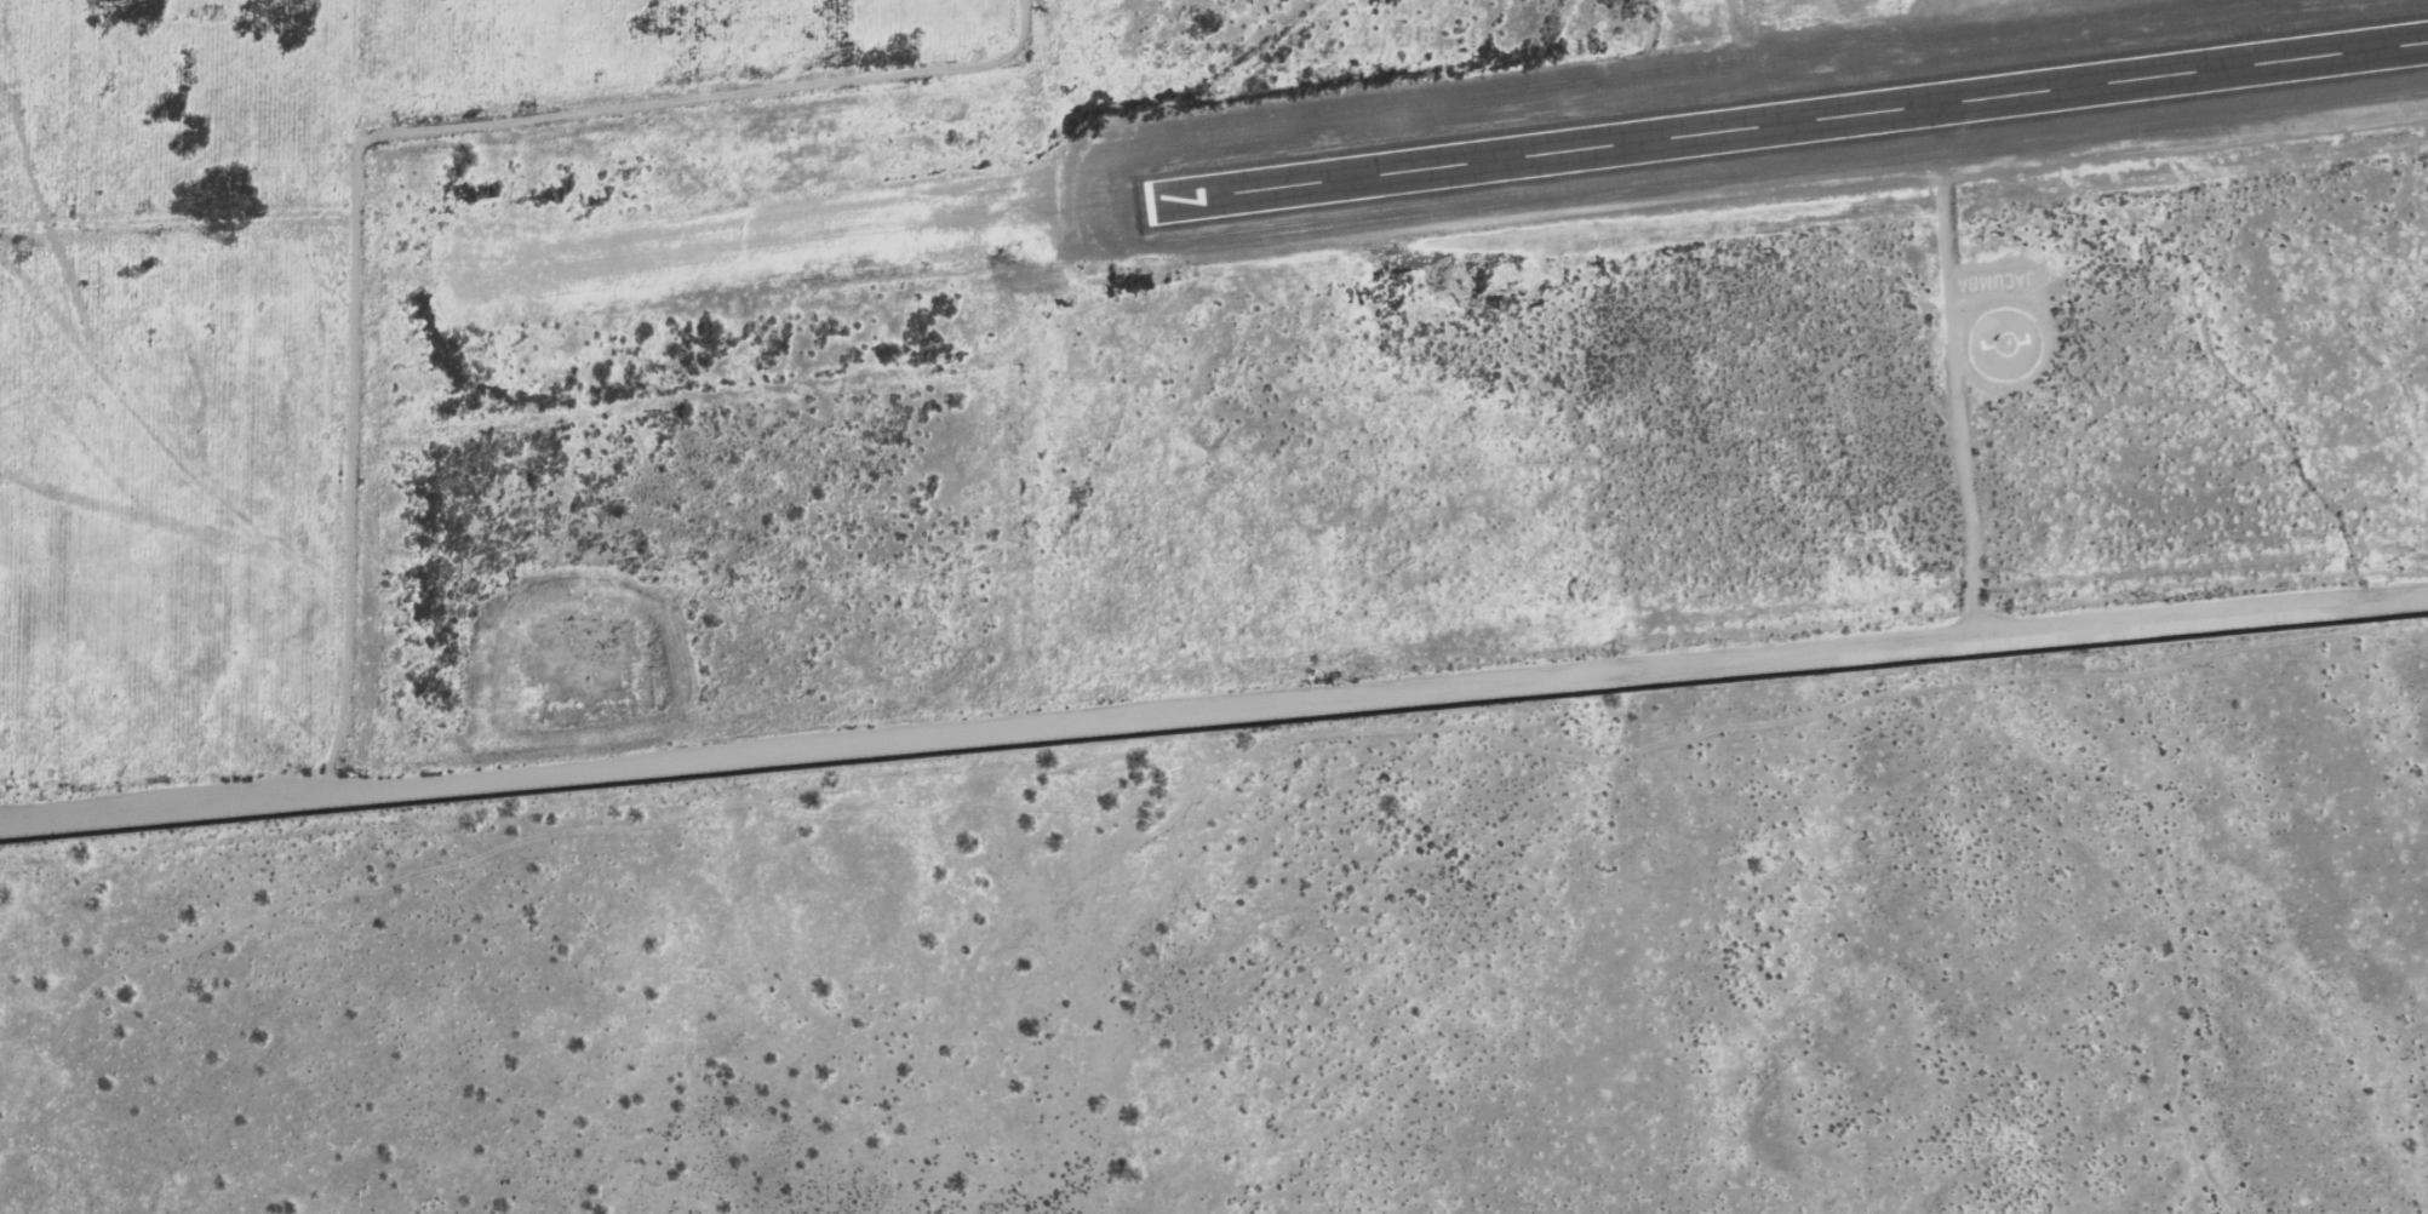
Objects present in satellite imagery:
airport apron: (1992, 48)
airport runway: (1788, 124)
airport: (1378, 365)
road: (1214, 721)

